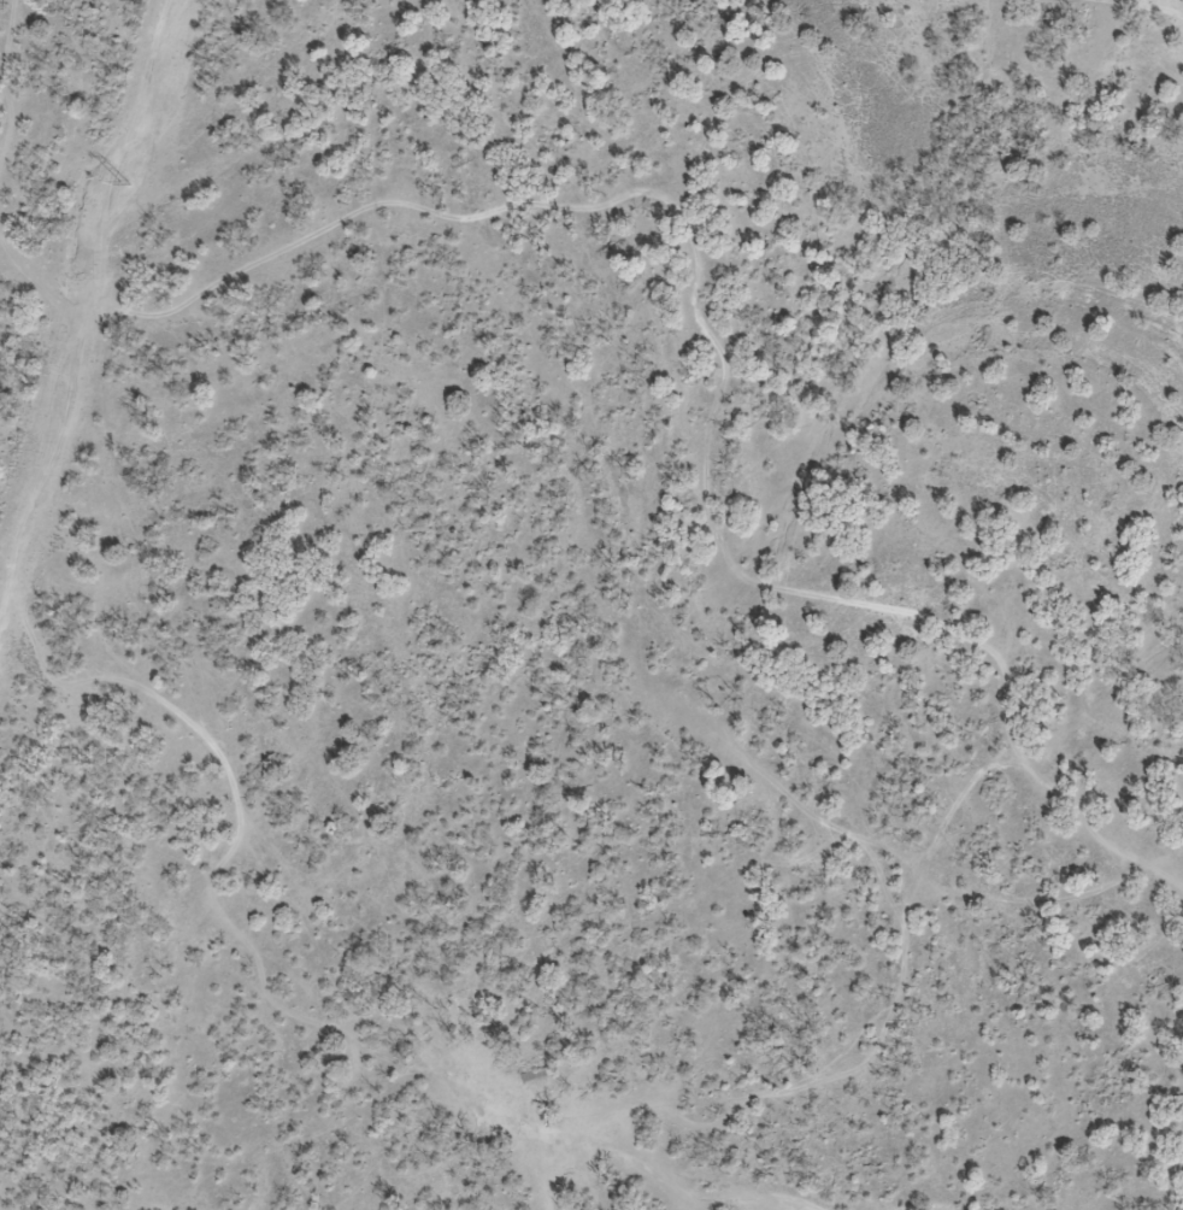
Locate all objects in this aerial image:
power tower: (125, 182)

